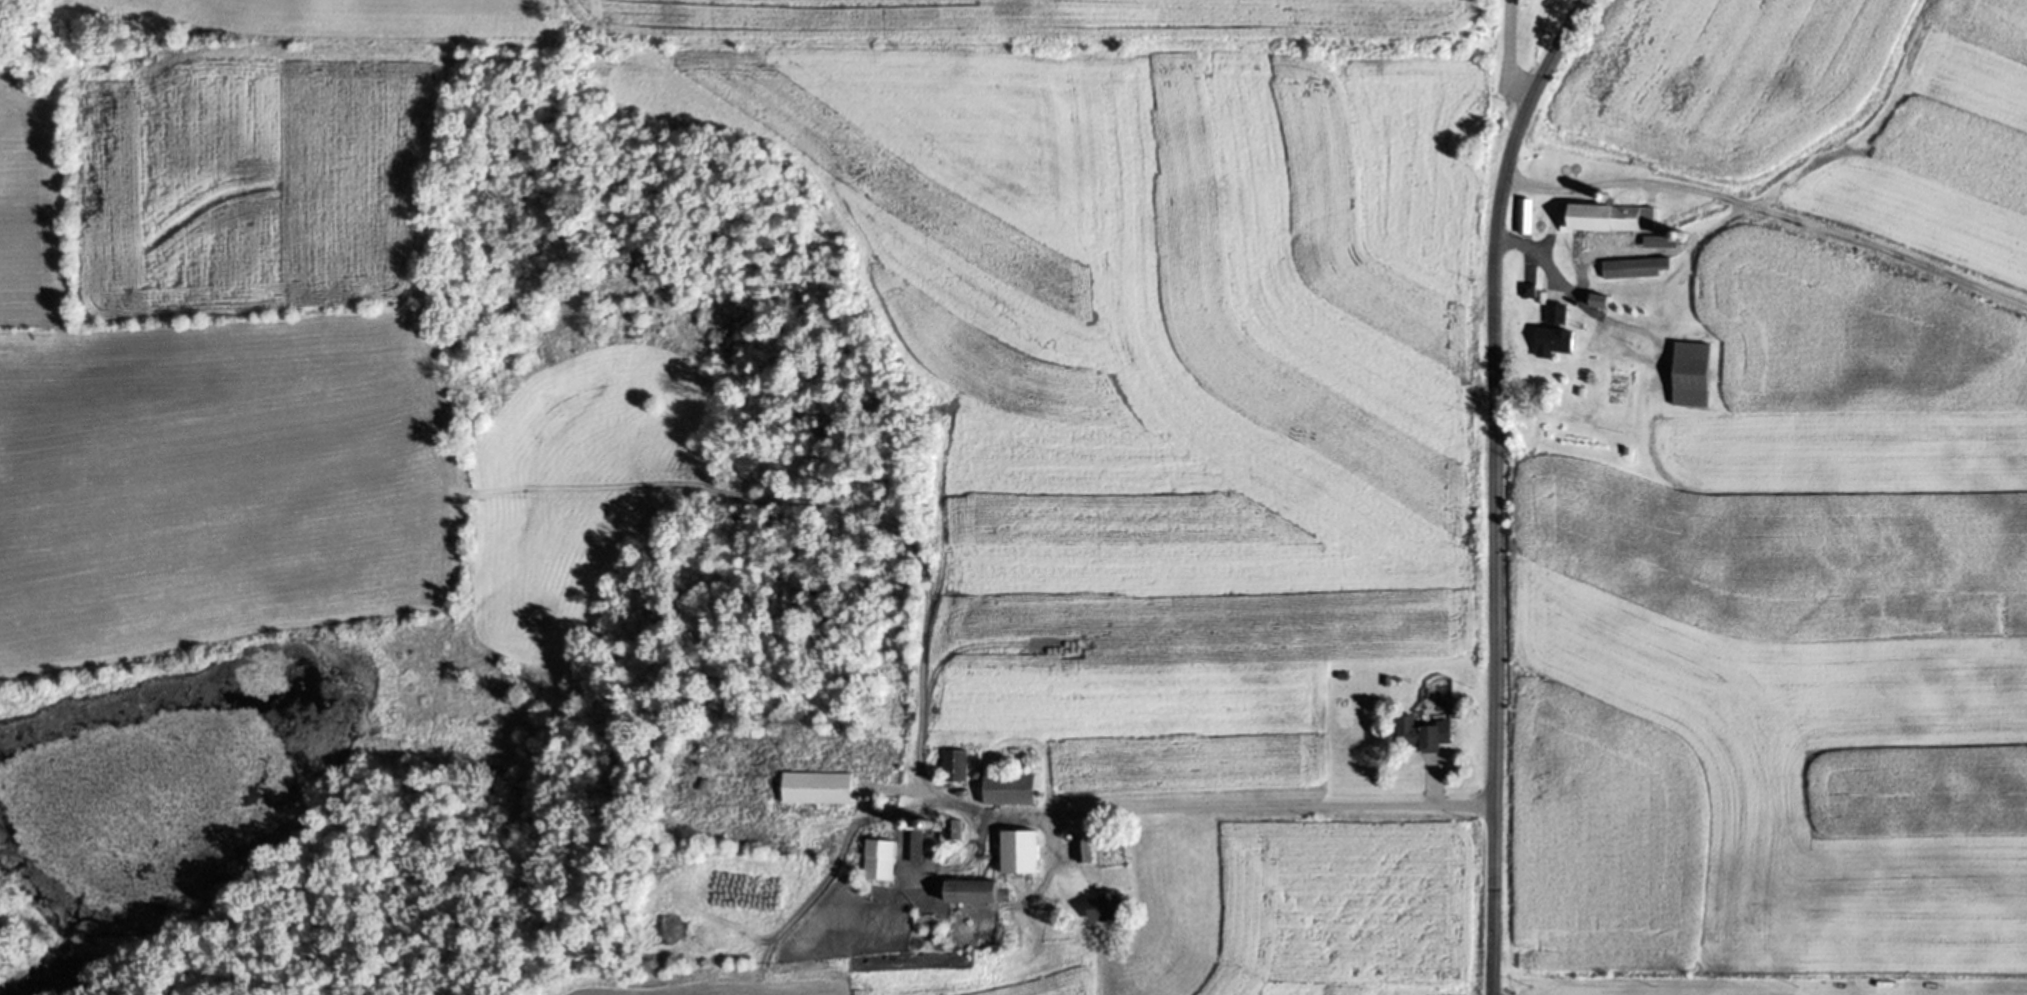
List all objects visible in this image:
road: (1511, 53)
building: (1524, 214)
building: (1608, 216)
building: (1664, 240)
building: (1633, 266)
road: (1558, 276)
building: (1527, 289)
building: (1602, 301)
building: (1552, 329)
building: (1690, 373)
building: (1577, 389)
building: (1622, 448)
road: (1492, 487)
building: (1417, 731)
building: (956, 764)
building: (819, 786)
building: (1010, 789)
road: (1276, 806)
building: (956, 830)
building: (918, 838)
building: (1084, 849)
building: (1020, 851)
building: (880, 858)
building: (974, 890)
building: (1106, 907)

